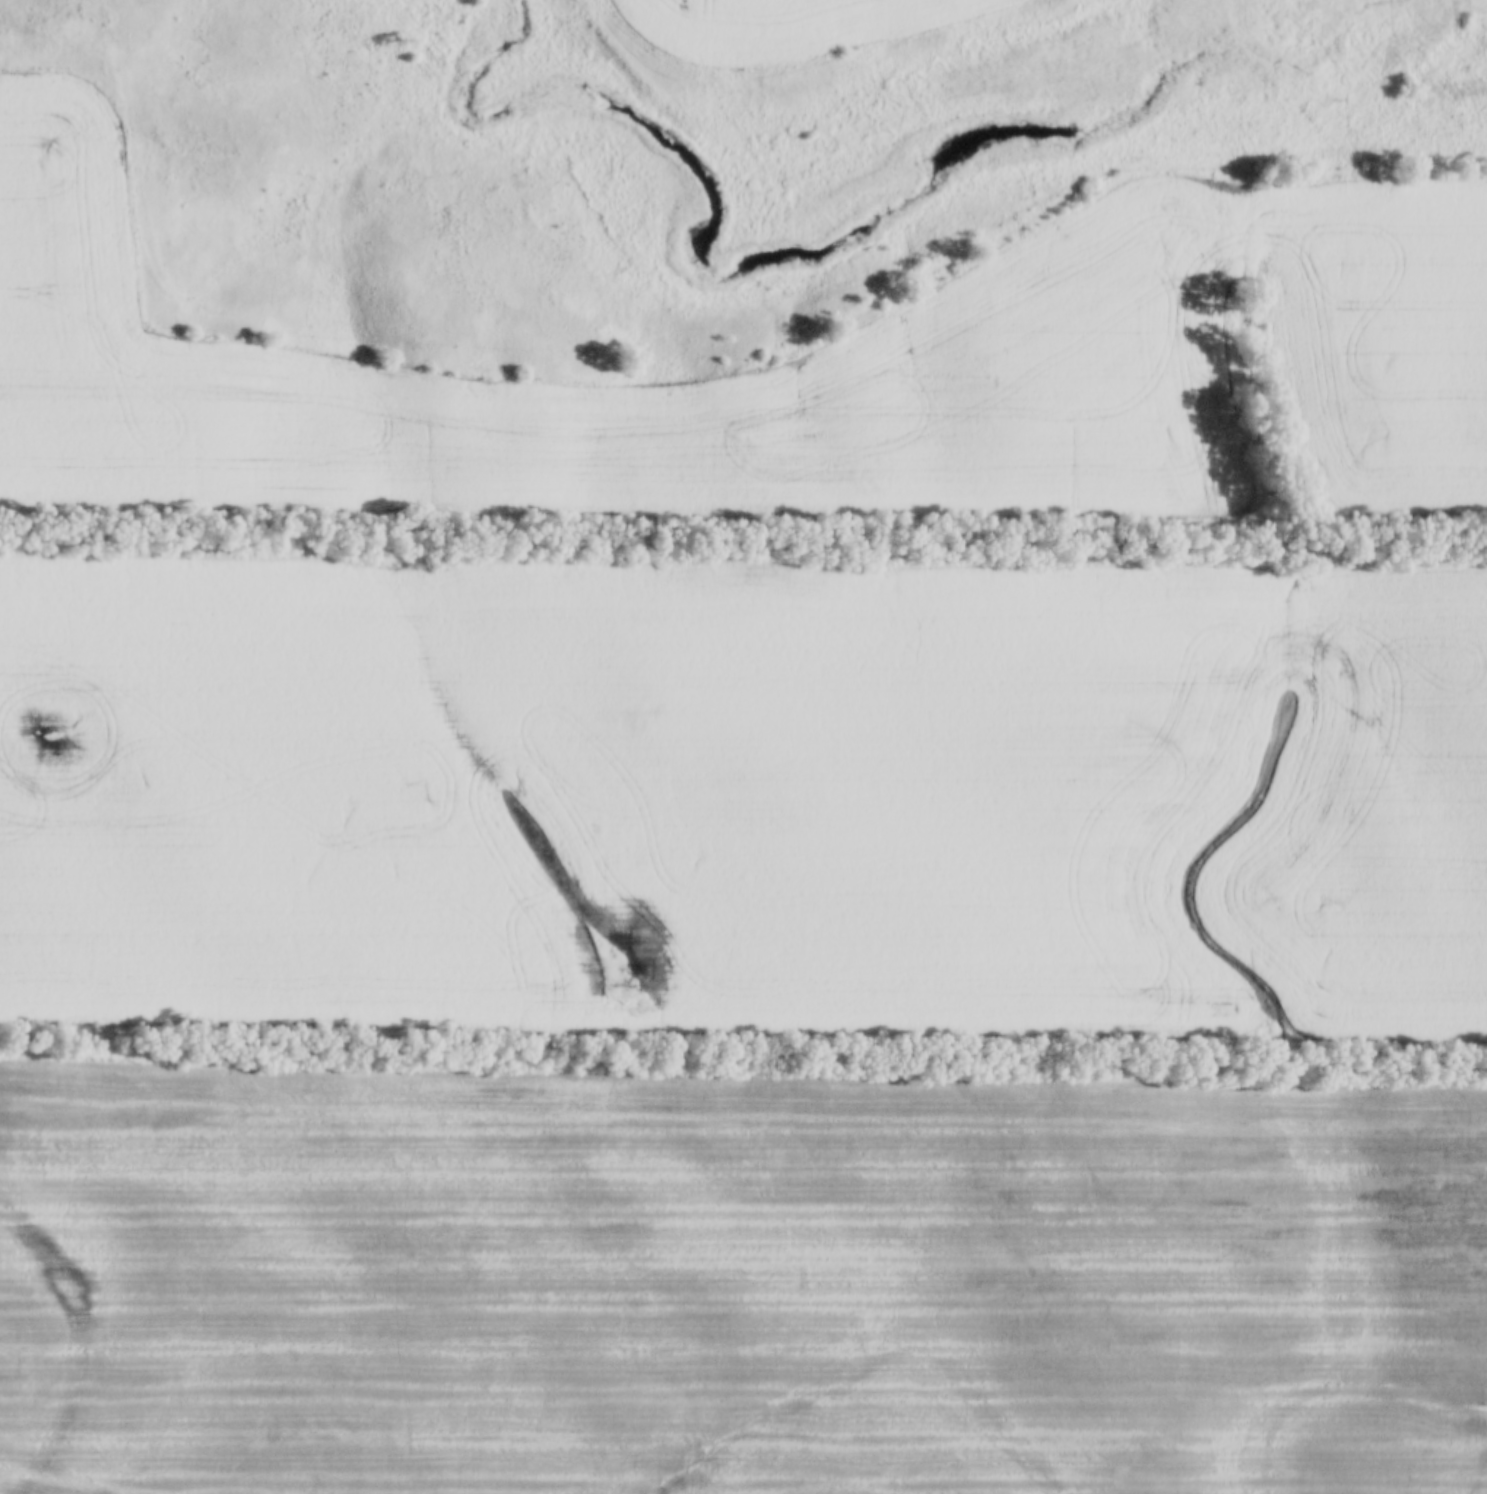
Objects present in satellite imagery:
river: (1381, 107)
river: (772, 286)

